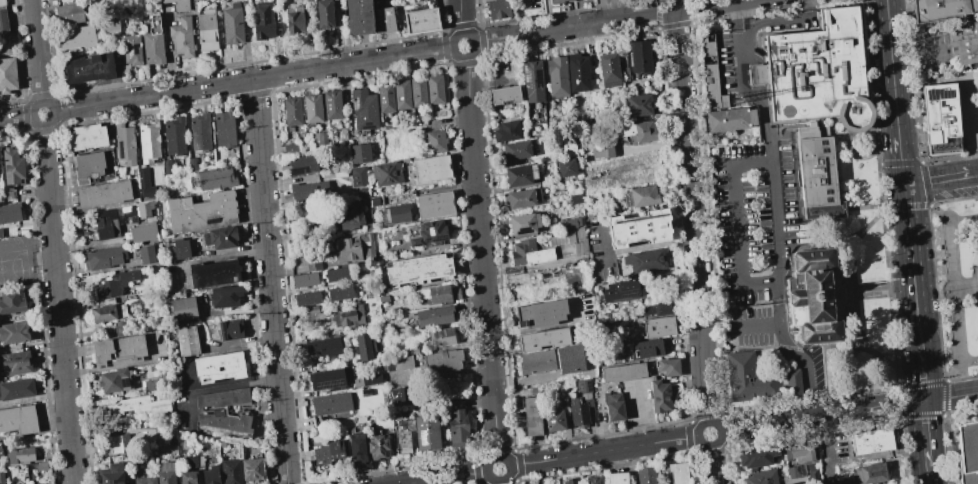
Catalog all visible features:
building: (556, 1)
building: (2, 2)
building: (308, 2)
building: (379, 2)
building: (338, 3)
building: (180, 4)
building: (195, 6)
building: (244, 8)
building: (498, 8)
building: (942, 9)
building: (69, 13)
building: (325, 13)
road: (460, 16)
building: (359, 17)
building: (295, 18)
building: (422, 18)
building: (386, 19)
building: (264, 20)
road: (607, 20)
building: (3, 21)
road: (781, 21)
building: (232, 23)
building: (110, 25)
road: (889, 29)
building: (207, 30)
building: (76, 36)
building: (183, 36)
building: (963, 40)
building: (154, 42)
rooftop solar panel: (134, 47)
rooftop solar panel: (130, 48)
building: (132, 49)
road: (37, 51)
road: (917, 54)
road: (461, 56)
building: (639, 56)
building: (90, 67)
building: (608, 70)
building: (815, 70)
building: (577, 73)
building: (8, 74)
building: (712, 74)
building: (556, 76)
rooftop solar panel: (529, 77)
rooftop solar panel: (537, 78)
road: (253, 79)
building: (531, 79)
rooftop solar panel: (942, 91)
rooftop solar panel: (929, 92)
building: (422, 94)
building: (439, 94)
building: (406, 95)
building: (504, 95)
road: (895, 97)
building: (390, 100)
rooftop solar panel: (940, 101)
rooftop solar panel: (354, 103)
building: (638, 105)
building: (337, 107)
building: (317, 110)
road: (54, 111)
building: (369, 111)
building: (297, 113)
road: (16, 117)
parking lot: (976, 118)
building: (941, 119)
building: (729, 121)
rooftop solar panel: (368, 127)
building: (224, 128)
road: (972, 130)
building: (506, 131)
building: (199, 132)
building: (642, 132)
building: (173, 136)
building: (343, 136)
building: (87, 137)
building: (319, 140)
building: (148, 142)
building: (441, 142)
building: (124, 144)
rooftop solar panel: (194, 144)
building: (568, 146)
building: (289, 148)
building: (516, 150)
building: (609, 151)
building: (599, 153)
building: (363, 155)
road: (900, 161)
building: (190, 163)
building: (12, 166)
building: (87, 166)
building: (307, 166)
building: (166, 167)
building: (565, 167)
rooftop solar panel: (305, 169)
rooftop solar panel: (298, 171)
building: (436, 171)
building: (519, 175)
building: (813, 175)
building: (142, 177)
building: (391, 177)
building: (215, 178)
building: (361, 178)
road: (941, 181)
traffic signals: (904, 186)
building: (103, 193)
building: (313, 193)
building: (639, 196)
building: (520, 198)
building: (575, 198)
road: (927, 201)
building: (380, 203)
road: (887, 205)
building: (438, 207)
building: (144, 209)
road: (777, 209)
building: (202, 211)
flagpole: (836, 212)
building: (9, 213)
building: (402, 216)
road: (691, 216)
parking lot: (754, 218)
building: (113, 220)
road: (736, 220)
rooftop solar panel: (212, 221)
building: (351, 221)
building: (523, 223)
building: (567, 223)
building: (638, 228)
building: (142, 232)
building: (435, 236)
building: (222, 237)
rooftop solar panel: (438, 238)
rooftop solar panel: (426, 240)
building: (568, 242)
rooftop solar panel: (418, 247)
building: (180, 248)
road: (635, 249)
building: (352, 252)
building: (950, 252)
building: (528, 253)
building: (145, 254)
road: (215, 256)
road: (27, 257)
building: (104, 257)
road: (481, 257)
building: (644, 260)
parking lot: (17, 263)
road: (912, 266)
building: (426, 270)
building: (213, 273)
road: (974, 275)
park: (864, 276)
building: (342, 277)
road: (270, 281)
building: (309, 282)
road: (954, 283)
park: (956, 283)
building: (115, 284)
road: (965, 288)
road: (885, 289)
building: (622, 290)
rooftop solar panel: (628, 292)
flagpole: (940, 292)
building: (344, 295)
building: (448, 295)
building: (224, 296)
building: (810, 298)
building: (311, 300)
building: (11, 301)
building: (107, 301)
road: (856, 302)
road: (59, 303)
building: (132, 303)
building: (655, 308)
building: (182, 309)
building: (108, 313)
building: (540, 313)
building: (439, 318)
building: (353, 319)
road: (759, 323)
building: (658, 326)
parking lot: (751, 326)
building: (956, 326)
building: (229, 328)
building: (13, 332)
building: (542, 339)
building: (186, 341)
building: (444, 341)
building: (645, 348)
building: (119, 349)
building: (329, 349)
building: (368, 350)
building: (537, 361)
building: (15, 363)
road: (120, 365)
building: (449, 365)
building: (219, 367)
building: (668, 367)
building: (622, 372)
road: (922, 373)
flagpole: (879, 376)
building: (366, 380)
road: (944, 380)
building: (113, 381)
building: (327, 381)
building: (757, 381)
rooftop solar panel: (370, 382)
rooftop solar panel: (330, 383)
road: (881, 383)
rooftop solar panel: (358, 384)
building: (148, 385)
building: (582, 385)
road: (217, 386)
rooftop solar panel: (579, 386)
rooftop solar panel: (588, 386)
building: (16, 389)
building: (395, 395)
building: (658, 396)
road: (951, 396)
building: (222, 398)
traffic signals: (924, 401)
building: (335, 406)
building: (613, 407)
building: (138, 408)
road: (643, 412)
building: (362, 413)
building: (577, 413)
building: (531, 416)
road: (822, 416)
building: (18, 419)
building: (553, 419)
building: (224, 423)
building: (465, 429)
road: (925, 434)
building: (433, 437)
rooftop solar panel: (424, 438)
building: (408, 439)
building: (871, 441)
building: (118, 443)
road: (711, 445)
building: (164, 447)
building: (356, 448)
building: (384, 450)
road: (603, 451)
building: (364, 452)
building: (799, 452)
road: (888, 453)
building: (968, 453)
building: (20, 454)
building: (0, 455)
building: (755, 456)
building: (334, 457)
building: (191, 461)
road: (711, 464)
road: (632, 465)
building: (41, 466)
building: (251, 469)
building: (795, 470)
building: (230, 471)
building: (677, 472)
building: (811, 472)
building: (165, 473)
building: (111, 474)
building: (865, 474)
building: (210, 475)
building: (645, 475)
road: (929, 475)
building: (187, 477)
road: (446, 477)
building: (761, 477)
building: (1, 478)
road: (496, 478)
building: (617, 478)
building: (144, 480)
building: (593, 480)
road: (500, 481)
building: (570, 481)
building: (45, 483)

